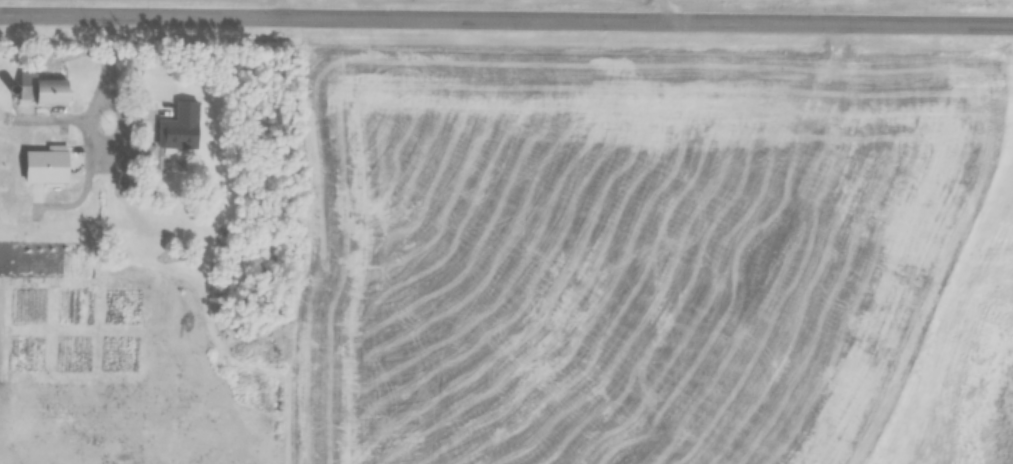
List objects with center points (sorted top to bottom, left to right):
road: (506, 25)
building: (39, 91)
building: (173, 122)
building: (146, 154)
building: (86, 169)
building: (94, 198)

